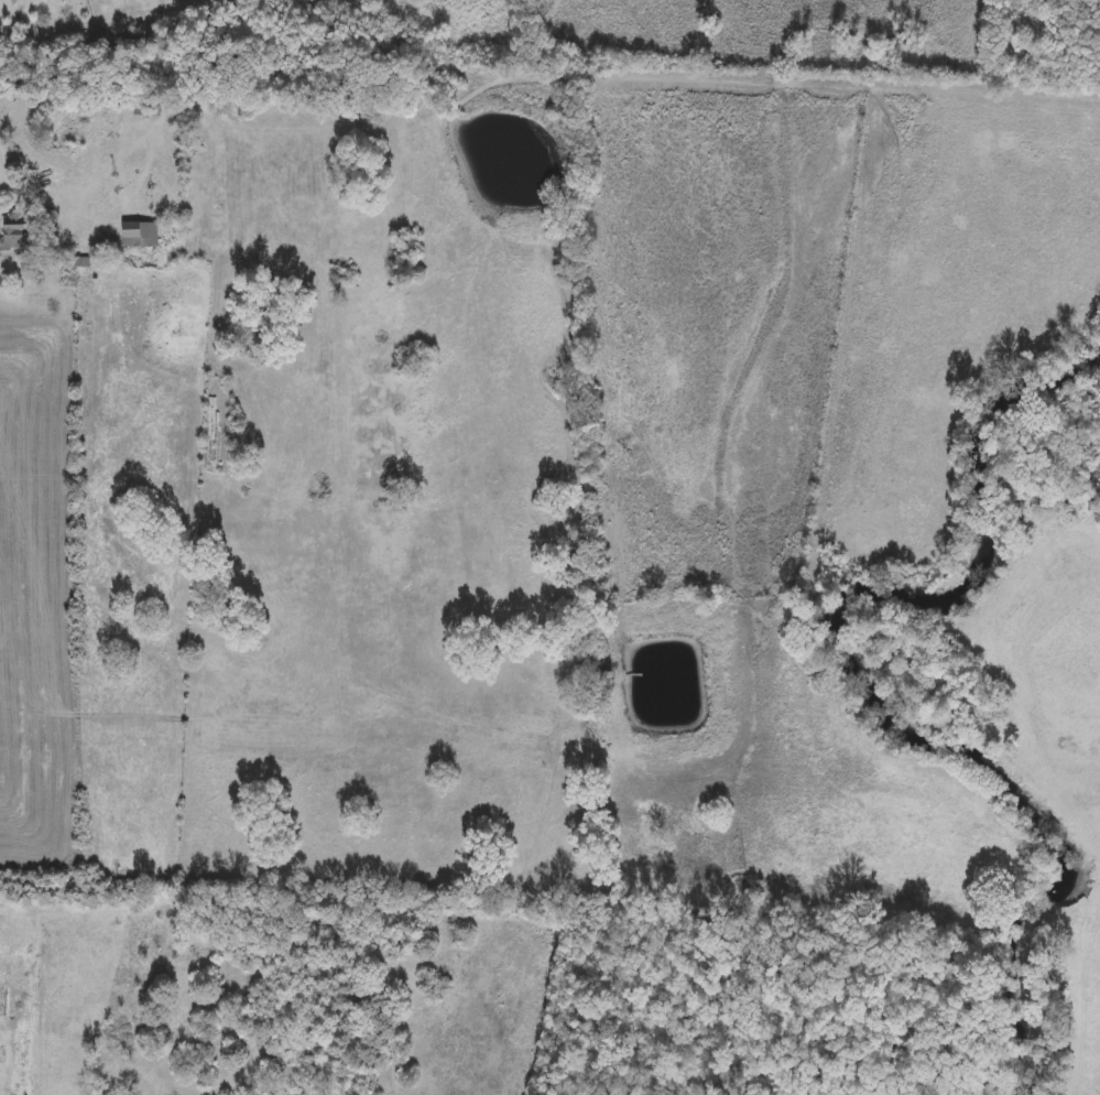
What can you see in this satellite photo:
road: (12, 19)
building: (146, 108)
building: (15, 232)
building: (140, 234)

